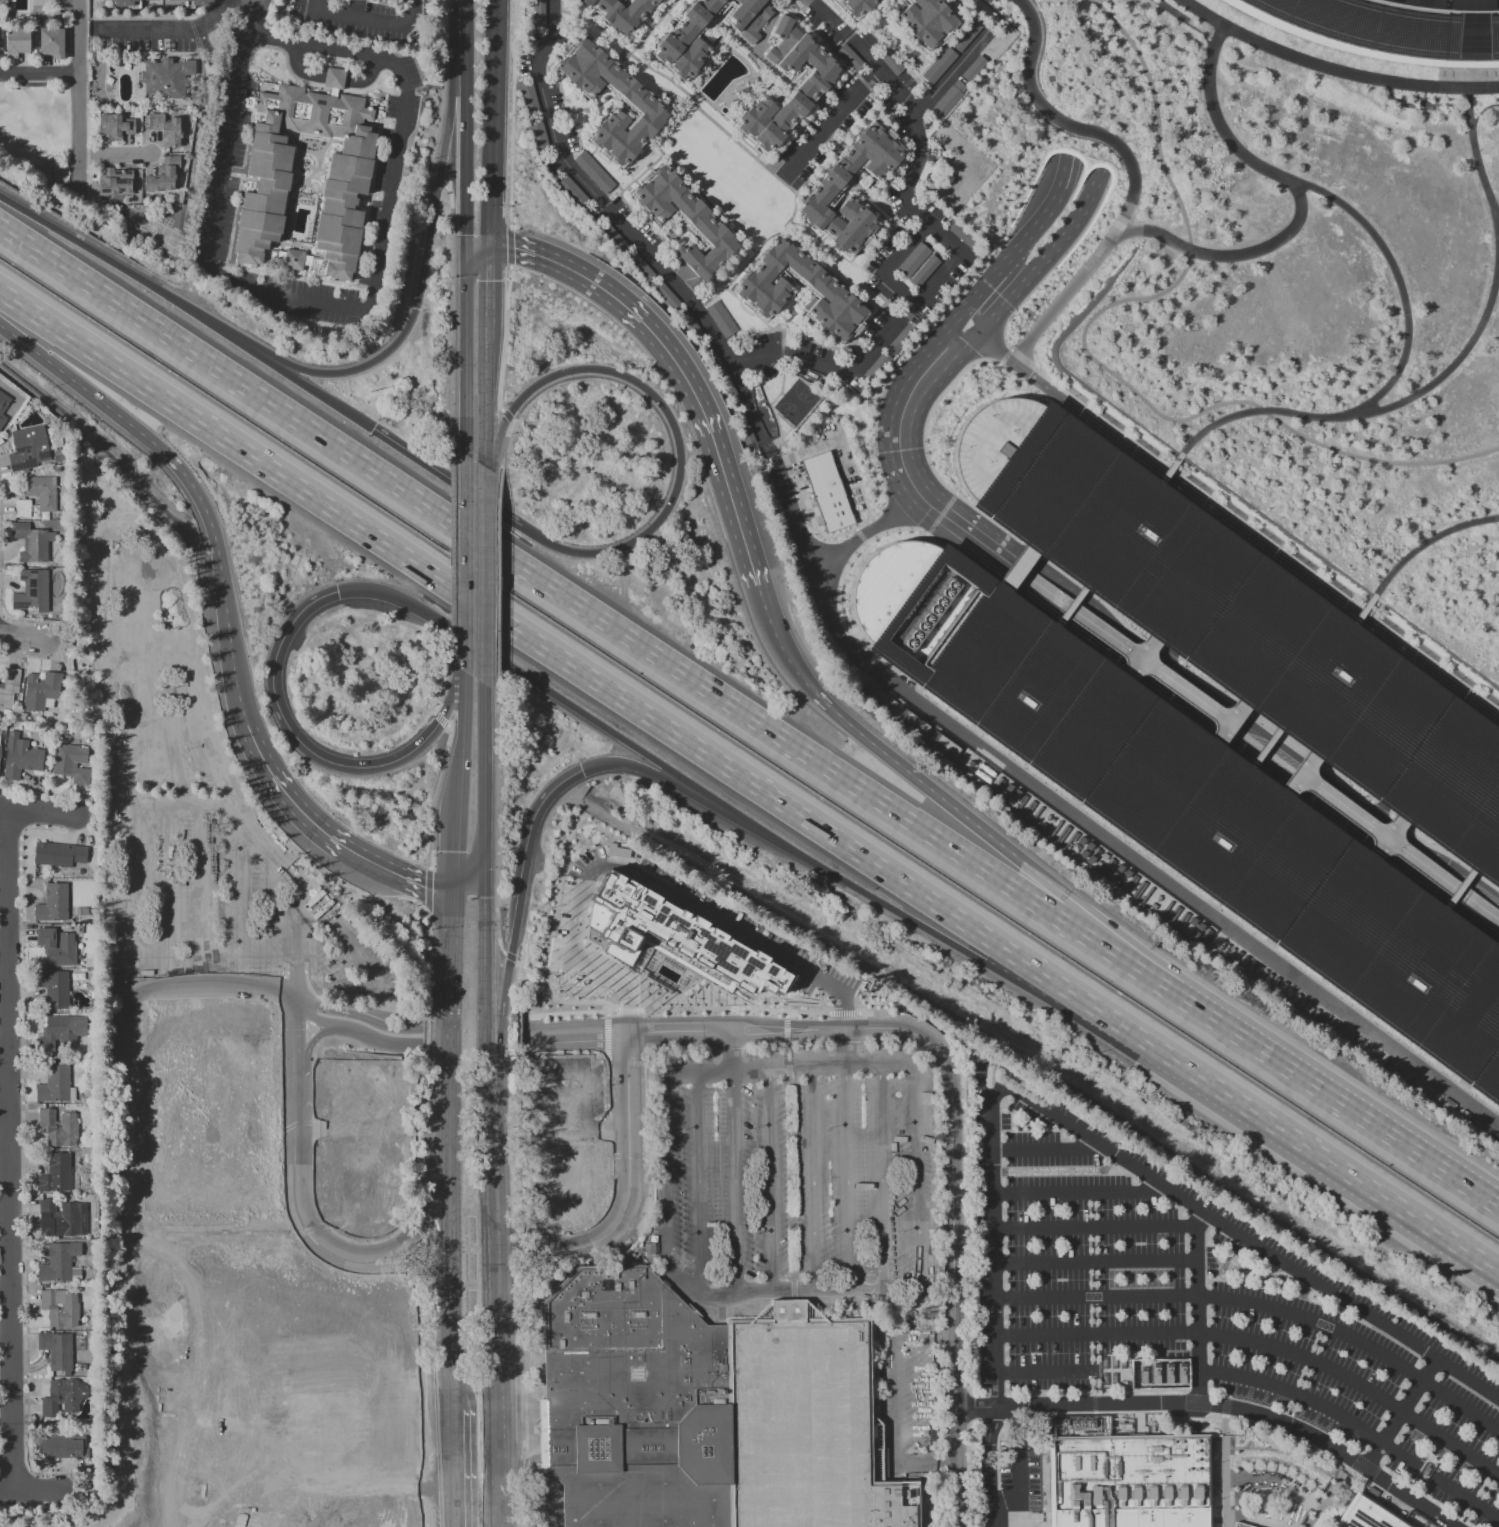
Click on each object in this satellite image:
building: (137, 0)
building: (376, 0)
building: (3, 1)
building: (122, 2)
building: (158, 2)
building: (198, 2)
road: (780, 5)
road: (1107, 5)
building: (856, 8)
building: (538, 13)
building: (618, 13)
road: (829, 18)
building: (746, 20)
building: (924, 22)
road: (372, 26)
road: (653, 27)
road: (183, 30)
road: (494, 33)
building: (1379, 34)
road: (78, 35)
building: (966, 37)
road: (464, 39)
building: (685, 41)
building: (16, 42)
building: (51, 42)
building: (850, 60)
building: (890, 62)
building: (938, 67)
building: (973, 67)
road: (39, 73)
road: (948, 76)
building: (167, 77)
road: (332, 78)
road: (1318, 80)
traffic signals: (1081, 81)
traffic signals: (1110, 81)
road: (432, 82)
road: (703, 83)
road: (409, 86)
road: (443, 90)
building: (525, 91)
road: (682, 91)
building: (788, 95)
building: (631, 98)
building: (947, 100)
road: (511, 114)
road: (828, 124)
building: (114, 126)
road: (583, 126)
road: (914, 127)
building: (166, 129)
road: (76, 130)
park: (34, 139)
road: (112, 154)
road: (1474, 155)
road: (490, 157)
road: (465, 164)
road: (1138, 168)
road: (1066, 169)
building: (594, 174)
building: (164, 175)
building: (349, 176)
building: (115, 181)
road: (436, 183)
building: (826, 191)
building: (573, 192)
road: (702, 197)
road: (622, 199)
road: (1299, 208)
road: (1039, 221)
road: (1073, 221)
building: (683, 222)
building: (608, 231)
building: (960, 233)
road: (630, 239)
traffic signals: (488, 247)
road: (509, 247)
road: (477, 248)
road: (758, 248)
traffic signals: (466, 250)
road: (829, 258)
building: (912, 261)
road: (1004, 261)
building: (924, 272)
road: (937, 278)
road: (423, 281)
road: (487, 284)
road: (981, 286)
building: (763, 291)
building: (664, 293)
road: (371, 296)
traffic signals: (418, 310)
road: (187, 311)
road: (998, 312)
road: (790, 313)
road: (451, 314)
road: (975, 316)
road: (635, 317)
building: (718, 318)
road: (957, 320)
road: (764, 321)
traffic signals: (985, 328)
road: (505, 339)
building: (903, 340)
road: (997, 346)
road: (467, 354)
road: (1465, 355)
road: (1003, 356)
road: (755, 357)
road: (1095, 357)
building: (877, 370)
road: (1393, 374)
road: (486, 395)
road: (777, 397)
park: (798, 402)
building: (3, 407)
road: (506, 415)
road: (673, 423)
road: (899, 424)
traffic signals: (373, 429)
building: (746, 434)
road: (820, 444)
building: (29, 448)
road: (503, 449)
road: (926, 457)
road: (178, 468)
road: (1165, 470)
road: (447, 477)
road: (771, 488)
building: (42, 492)
building: (820, 494)
road: (785, 496)
road: (865, 501)
building: (22, 508)
road: (940, 513)
road: (738, 522)
road: (950, 523)
road: (1253, 529)
road: (865, 532)
road: (860, 536)
road: (1423, 536)
road: (1255, 541)
building: (32, 542)
road: (976, 543)
road: (1035, 551)
road: (968, 552)
road: (450, 553)
road: (951, 554)
road: (1034, 555)
road: (466, 564)
road: (1012, 569)
road: (1014, 569)
road: (484, 576)
road: (847, 577)
road: (986, 578)
road: (541, 580)
road: (987, 581)
road: (496, 585)
building: (32, 591)
traffic signals: (337, 591)
road: (838, 595)
road: (1081, 597)
road: (1101, 600)
road: (1033, 604)
road: (1067, 608)
road: (1359, 611)
building: (1235, 622)
parking garage: (1235, 622)
road: (515, 629)
road: (855, 631)
road: (20, 633)
road: (1064, 637)
road: (1162, 644)
road: (1128, 652)
road: (1168, 652)
road: (1168, 655)
traffic signals: (1165, 658)
road: (1181, 658)
road: (1139, 659)
road: (869, 663)
road: (1114, 663)
road: (510, 666)
road: (1155, 672)
road: (1164, 680)
traffic signals: (1145, 686)
building: (9, 687)
road: (444, 687)
road: (1131, 688)
building: (40, 689)
road: (1206, 689)
road: (1141, 690)
road: (1140, 693)
road: (1149, 701)
road: (240, 705)
road: (440, 718)
building: (914, 721)
road: (1224, 721)
road: (1278, 727)
road: (1211, 731)
road: (462, 739)
building: (0, 747)
road: (1260, 747)
road: (311, 751)
road: (889, 756)
building: (20, 757)
building: (71, 762)
road: (628, 764)
road: (1248, 768)
road: (1313, 769)
traffic signals: (583, 771)
road: (1296, 773)
road: (483, 776)
road: (689, 784)
road: (432, 795)
road: (1375, 799)
parking lot: (196, 801)
road: (194, 803)
building: (1184, 803)
parking garage: (1184, 803)
road: (1323, 803)
road: (1382, 811)
road: (38, 812)
road: (1360, 818)
traffic signals: (1379, 818)
building: (1044, 819)
road: (496, 824)
road: (1093, 828)
road: (1371, 828)
road: (325, 834)
traffic signals: (1367, 834)
road: (1385, 838)
road: (1345, 839)
road: (1407, 840)
road: (1359, 842)
road: (529, 846)
road: (1397, 846)
road: (451, 848)
road: (1441, 850)
building: (616, 851)
building: (59, 854)
road: (1367, 854)
traffic signals: (483, 869)
road: (1470, 875)
road: (466, 879)
road: (201, 881)
road: (646, 881)
road: (165, 882)
road: (241, 889)
road: (427, 890)
traffic signals: (450, 890)
road: (1457, 890)
road: (1429, 891)
road: (864, 892)
building: (53, 903)
road: (1431, 904)
road: (275, 908)
building: (1172, 910)
road: (1074, 915)
road: (1498, 920)
road: (549, 935)
building: (675, 938)
building: (56, 946)
road: (509, 957)
road: (214, 960)
road: (483, 961)
road: (1129, 964)
road: (536, 968)
road: (515, 969)
road: (131, 977)
building: (54, 987)
road: (570, 991)
road: (502, 999)
road: (732, 1009)
road: (626, 1010)
road: (599, 1011)
road: (842, 1013)
road: (359, 1016)
road: (904, 1016)
road: (570, 1025)
building: (62, 1032)
road: (356, 1033)
road: (446, 1033)
road: (570, 1041)
road: (311, 1042)
road: (844, 1046)
road: (730, 1051)
road: (423, 1061)
road: (787, 1068)
road: (484, 1069)
road: (552, 1079)
building: (55, 1084)
road: (293, 1096)
parking lot: (567, 1098)
road: (1337, 1100)
road: (386, 1102)
building: (210, 1109)
road: (1059, 1118)
road: (1265, 1120)
building: (59, 1127)
road: (953, 1128)
road: (608, 1129)
road: (486, 1141)
road: (1044, 1149)
road: (13, 1151)
road: (790, 1164)
building: (55, 1173)
road: (631, 1174)
road: (847, 1176)
road: (811, 1178)
building: (357, 1179)
road: (769, 1179)
road: (881, 1179)
road: (122, 1182)
building: (566, 1182)
road: (733, 1183)
road: (698, 1185)
road: (1077, 1192)
road: (662, 1194)
road: (916, 1196)
parking lot: (824, 1204)
building: (64, 1218)
road: (417, 1223)
road: (1095, 1227)
road: (515, 1242)
road: (422, 1246)
road: (391, 1248)
building: (59, 1261)
road: (1096, 1261)
road: (367, 1267)
road: (516, 1270)
road: (418, 1271)
road: (446, 1289)
road: (790, 1289)
road: (493, 1297)
road: (1263, 1304)
road: (1197, 1306)
parking lot: (1202, 1306)
building: (60, 1307)
road: (1264, 1344)
building: (57, 1350)
road: (896, 1370)
road: (1044, 1372)
road: (524, 1395)
building: (63, 1396)
road: (930, 1400)
road: (1313, 1401)
building: (634, 1403)
building: (202, 1404)
road: (419, 1404)
road: (1222, 1406)
road: (1400, 1413)
building: (806, 1425)
road: (495, 1443)
building: (62, 1447)
road: (450, 1464)
road: (927, 1464)
road: (518, 1468)
building: (1128, 1481)
road: (1020, 1489)
road: (29, 1492)
road: (1467, 1499)
road: (495, 1507)
building: (1365, 1515)
building: (1241, 1525)

